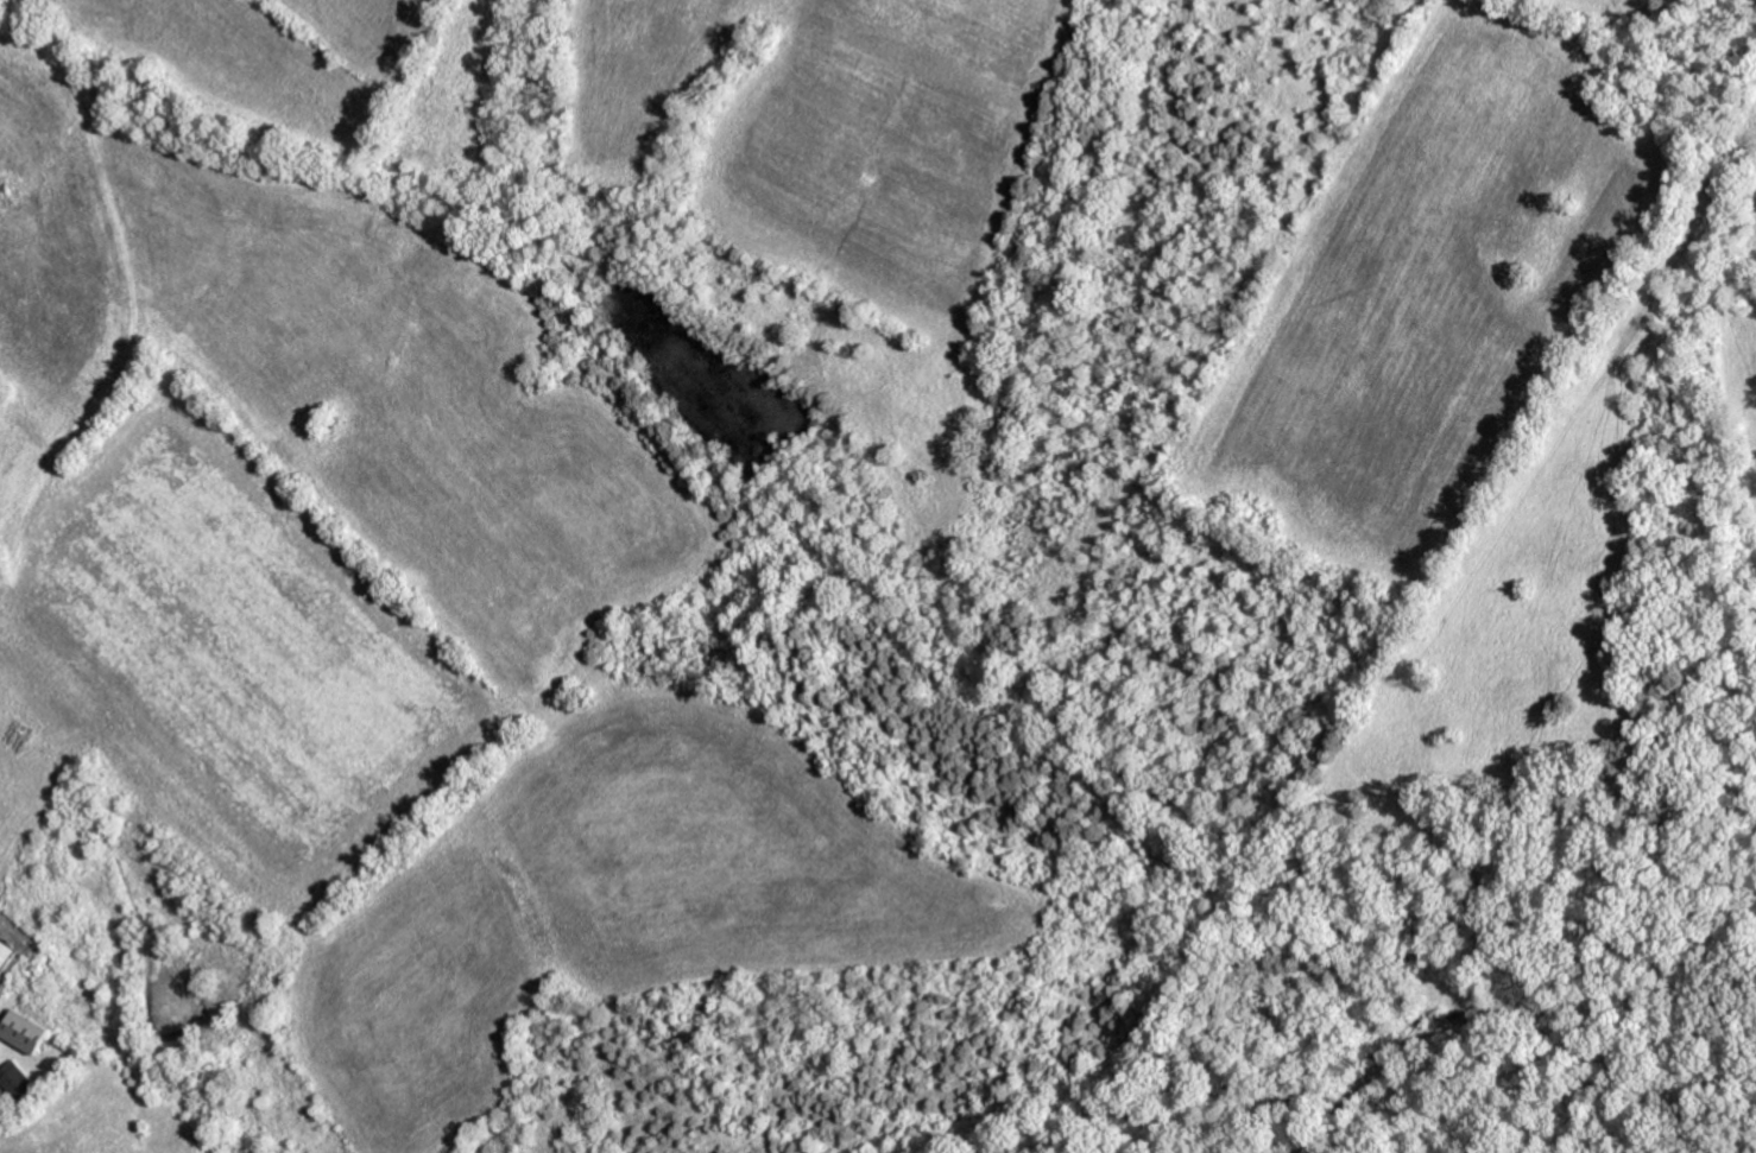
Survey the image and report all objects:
building: (5, 950)
building: (21, 1030)
building: (14, 1078)

